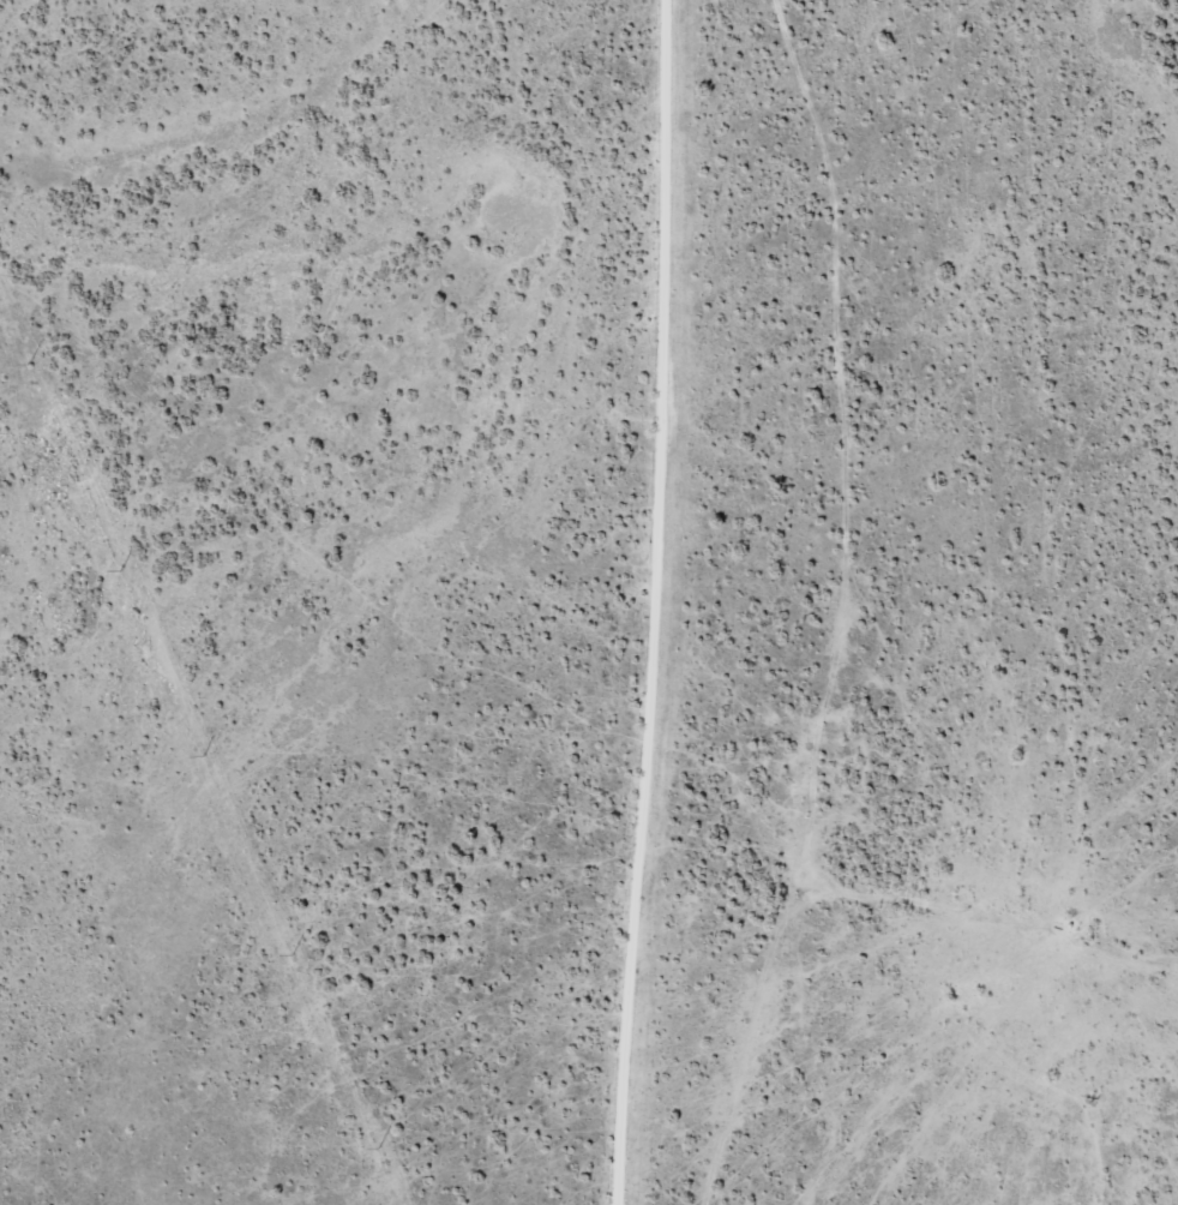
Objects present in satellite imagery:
road: (851, 604)
road: (973, 948)

